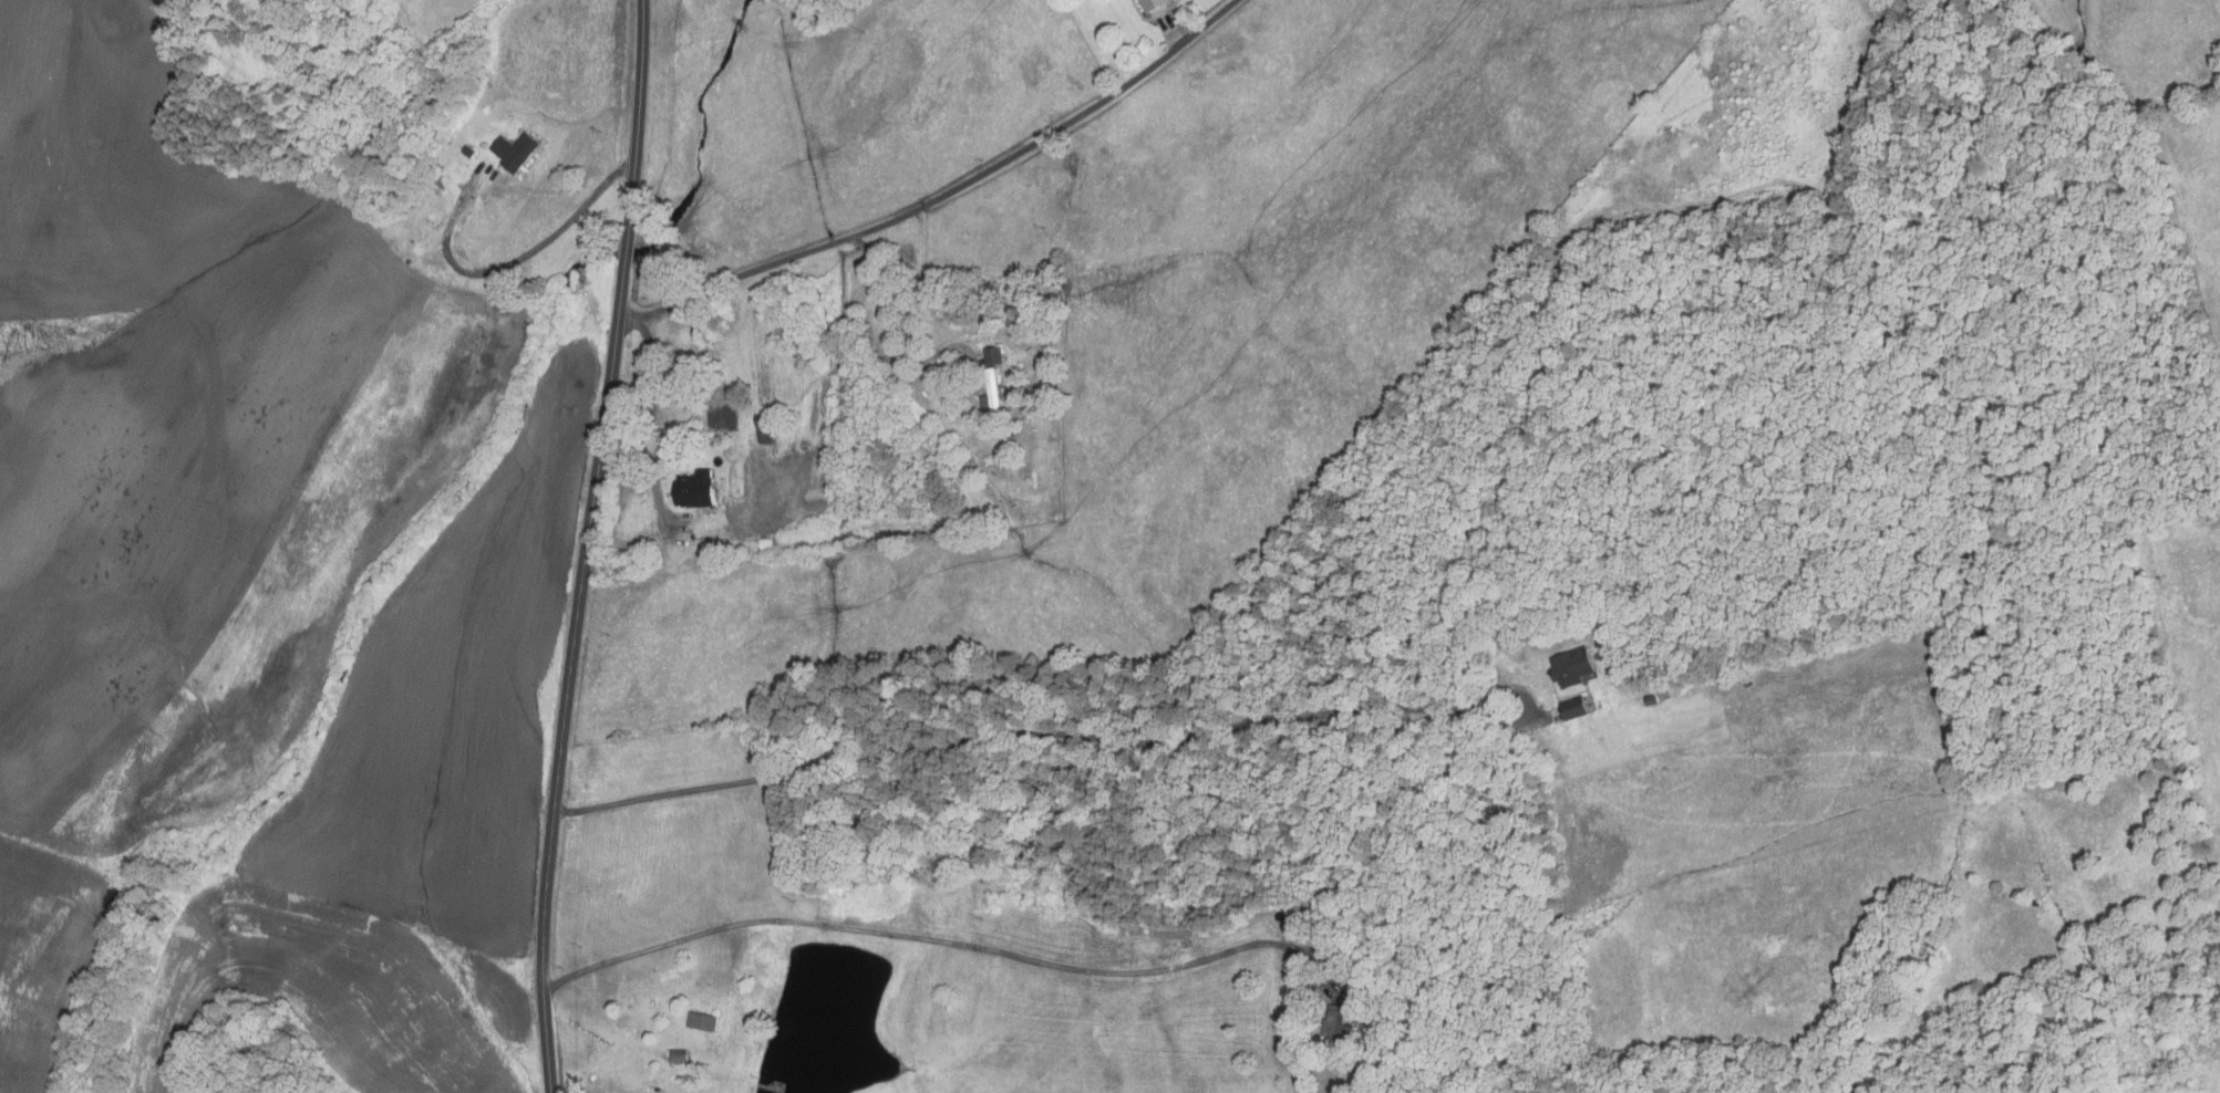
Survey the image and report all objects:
building: (1152, 4)
road: (1174, 29)
road: (640, 123)
building: (472, 150)
building: (519, 150)
building: (436, 174)
building: (436, 186)
road: (941, 194)
building: (493, 216)
road: (627, 254)
road: (510, 267)
building: (1049, 310)
building: (993, 354)
building: (991, 395)
road: (653, 427)
building: (766, 428)
building: (694, 489)
crop: (268, 519)
building: (765, 544)
building: (1571, 665)
road: (570, 677)
building: (1652, 699)
building: (1574, 708)
road: (1031, 736)
crop: (661, 762)
road: (931, 939)
crop: (45, 958)
crop: (310, 995)
building: (704, 1022)
building: (1340, 1024)
building: (680, 1056)

